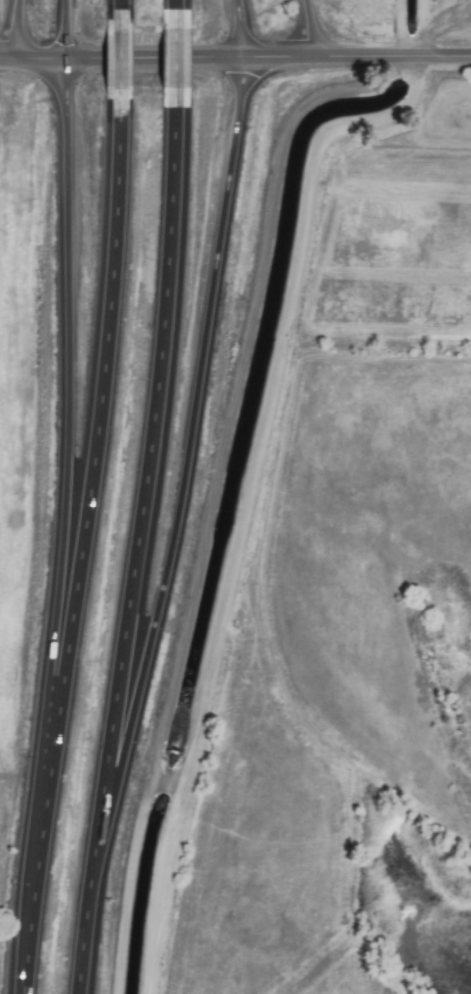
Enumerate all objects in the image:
road: (118, 6)
road: (172, 6)
road: (301, 26)
road: (6, 27)
road: (63, 27)
road: (238, 27)
road: (1, 55)
road: (237, 55)
road: (173, 58)
road: (118, 64)
road: (65, 445)
road: (184, 453)
road: (144, 476)
road: (213, 490)
road: (260, 494)
road: (79, 556)
road: (81, 920)

